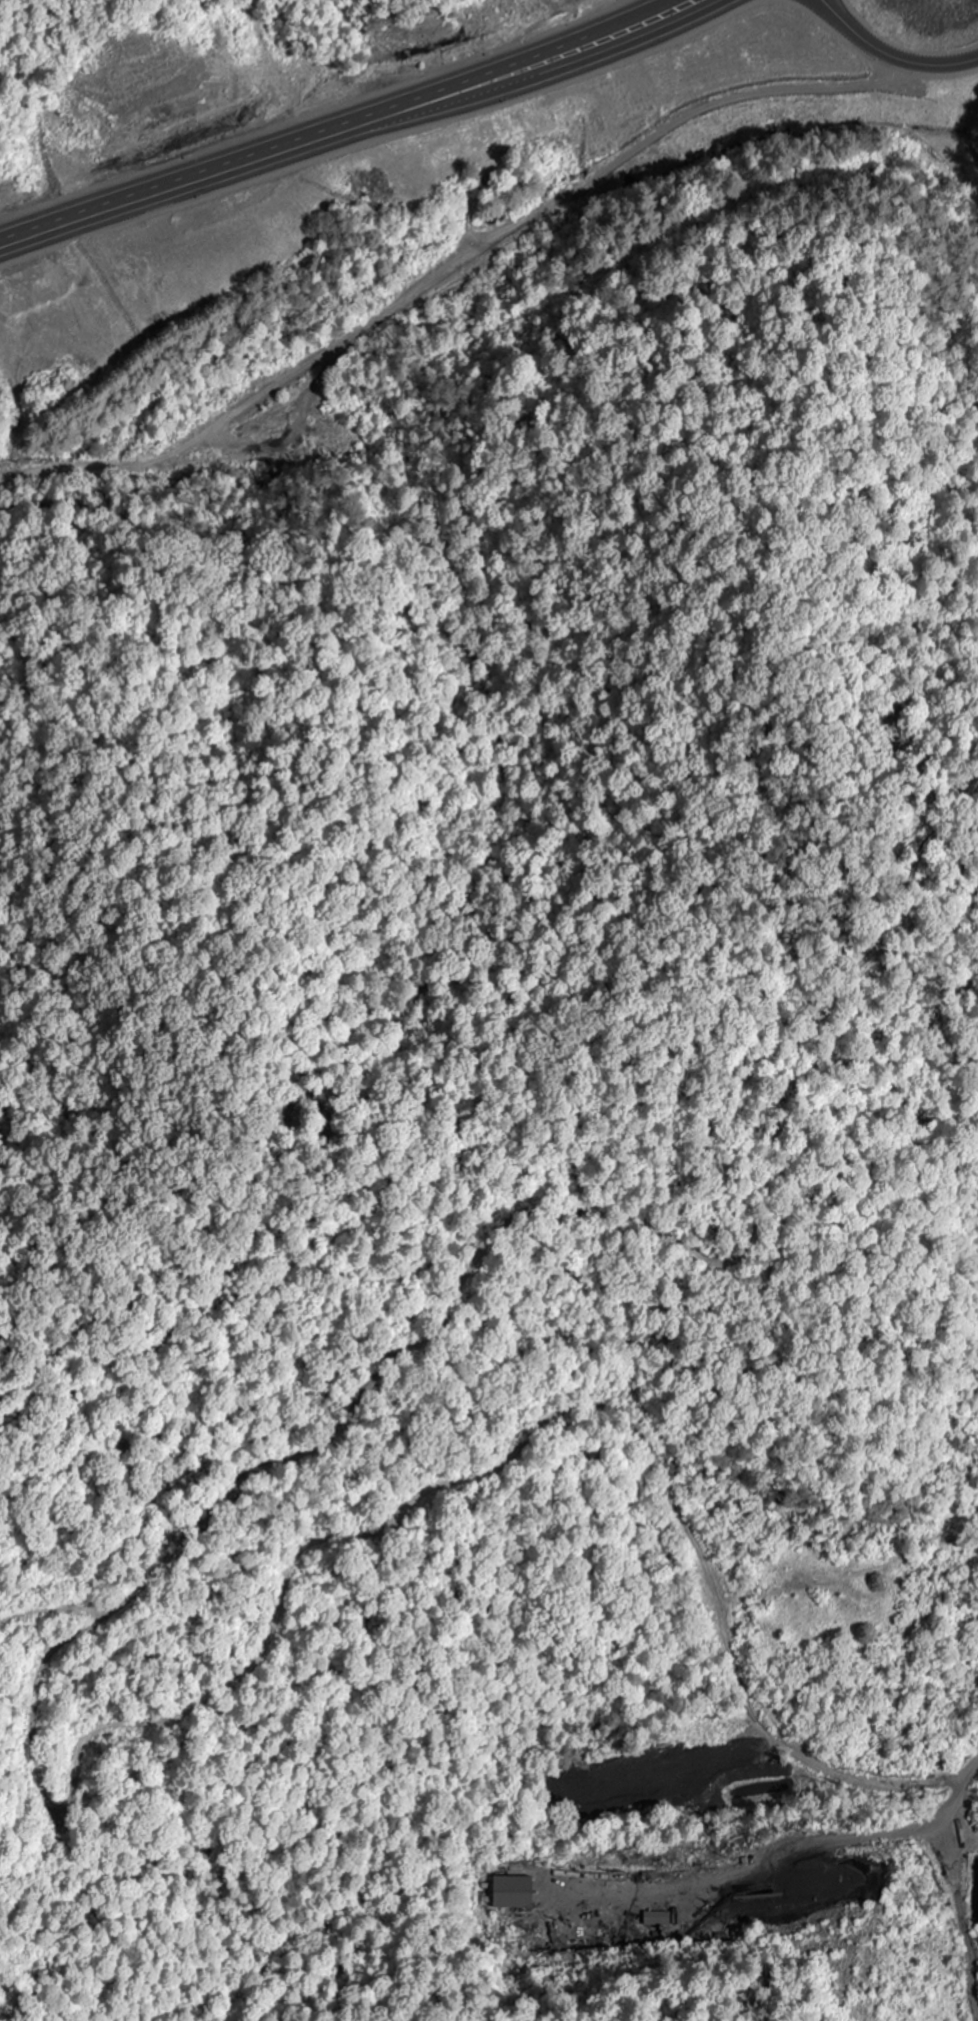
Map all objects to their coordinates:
building: (669, 1)
road: (888, 56)
road: (348, 129)
road: (440, 260)
road: (969, 1775)
building: (513, 1892)

